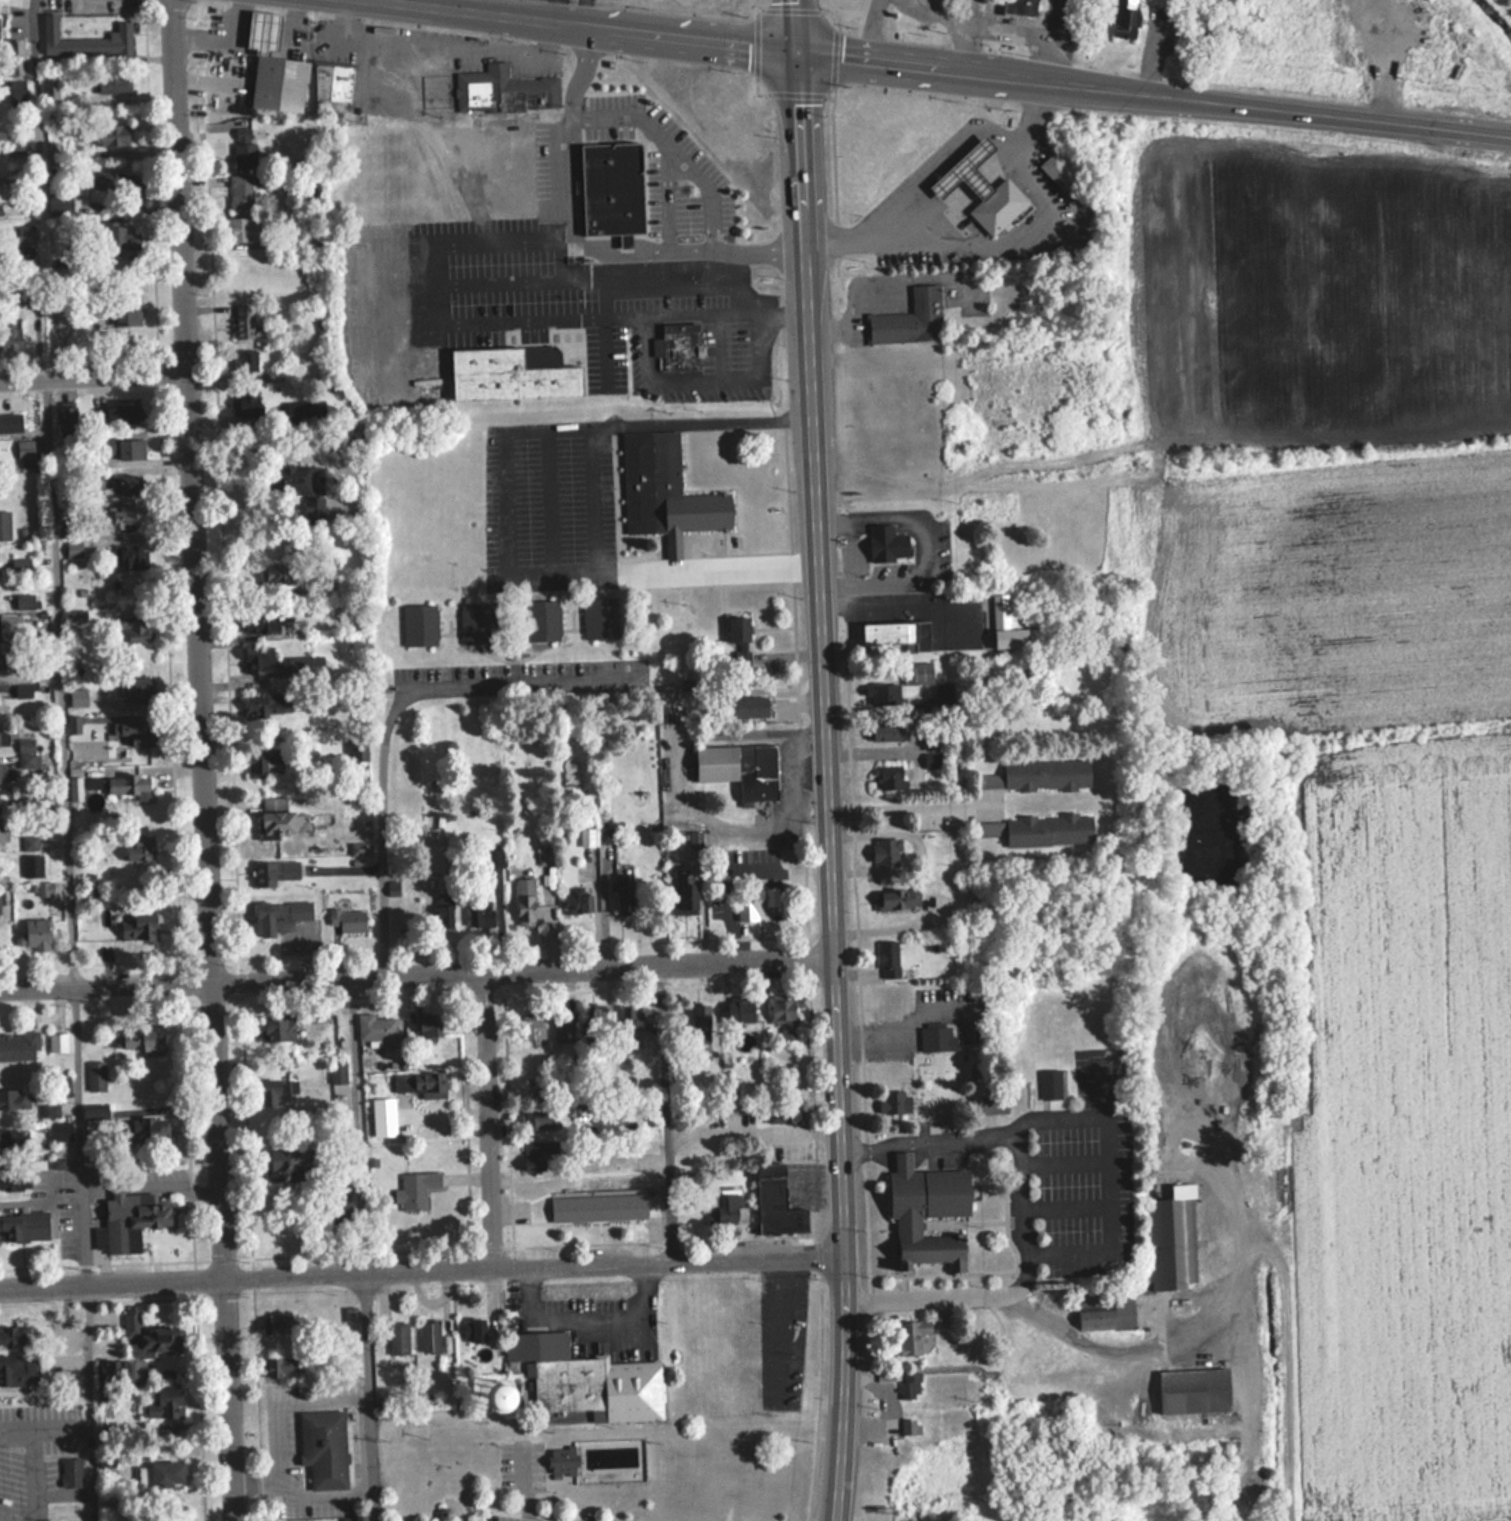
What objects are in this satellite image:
road: (443, 4)
road: (464, 6)
building: (1020, 7)
road: (566, 14)
road: (584, 14)
building: (1126, 18)
road: (795, 26)
road: (959, 26)
road: (862, 30)
building: (264, 31)
road: (1021, 33)
building: (92, 40)
road: (437, 43)
traffic signals: (796, 53)
road: (936, 68)
building: (277, 82)
building: (112, 83)
building: (343, 83)
building: (325, 88)
building: (50, 89)
building: (515, 90)
road: (1502, 132)
building: (113, 135)
building: (244, 150)
road: (670, 151)
building: (53, 152)
building: (967, 170)
building: (1058, 170)
building: (113, 181)
building: (614, 189)
building: (240, 192)
building: (999, 205)
building: (242, 229)
building: (17, 235)
building: (123, 238)
road: (738, 307)
building: (128, 311)
building: (910, 319)
building: (244, 320)
building: (11, 341)
building: (688, 348)
building: (245, 360)
building: (526, 375)
road: (95, 379)
building: (247, 403)
building: (124, 415)
building: (11, 422)
building: (25, 449)
building: (127, 449)
building: (297, 481)
building: (126, 484)
building: (667, 490)
road: (552, 499)
building: (339, 510)
building: (125, 517)
building: (5, 526)
building: (889, 543)
road: (932, 548)
building: (74, 550)
building: (129, 556)
building: (21, 566)
building: (281, 573)
road: (899, 606)
building: (601, 619)
building: (542, 621)
building: (261, 622)
building: (478, 623)
building: (420, 625)
building: (139, 629)
building: (739, 630)
building: (897, 633)
building: (1011, 639)
building: (260, 660)
building: (3, 661)
building: (922, 672)
road: (505, 678)
building: (138, 689)
building: (884, 694)
building: (941, 700)
building: (0, 705)
building: (269, 715)
building: (127, 732)
building: (887, 732)
building: (4, 737)
building: (25, 752)
building: (264, 758)
building: (934, 759)
road: (205, 760)
building: (740, 768)
building: (1, 772)
building: (1047, 774)
building: (891, 776)
building: (572, 777)
building: (990, 779)
building: (125, 785)
road: (825, 787)
road: (906, 805)
building: (280, 823)
road: (383, 827)
building: (1050, 830)
building: (2, 834)
building: (140, 850)
building: (887, 852)
building: (432, 853)
building: (545, 856)
building: (31, 866)
building: (272, 873)
building: (42, 888)
building: (525, 893)
building: (685, 894)
building: (757, 899)
building: (897, 899)
building: (579, 900)
building: (625, 900)
building: (279, 915)
building: (445, 916)
building: (480, 919)
building: (348, 921)
building: (140, 932)
building: (37, 934)
building: (889, 959)
road: (415, 970)
building: (740, 1011)
building: (631, 1017)
building: (785, 1017)
building: (701, 1023)
building: (532, 1026)
building: (563, 1027)
building: (278, 1028)
building: (432, 1028)
building: (376, 1031)
building: (937, 1038)
building: (138, 1040)
building: (57, 1042)
building: (19, 1046)
building: (1051, 1084)
building: (419, 1087)
building: (273, 1093)
building: (14, 1099)
building: (898, 1102)
building: (994, 1103)
building: (95, 1111)
building: (783, 1113)
road: (492, 1117)
building: (540, 1120)
building: (60, 1130)
building: (150, 1131)
building: (15, 1141)
road: (903, 1144)
building: (538, 1152)
building: (291, 1164)
building: (415, 1190)
building: (777, 1202)
building: (598, 1206)
building: (725, 1206)
building: (928, 1212)
building: (133, 1219)
building: (24, 1227)
building: (1171, 1239)
road: (422, 1270)
building: (1110, 1315)
building: (281, 1325)
building: (474, 1330)
building: (14, 1336)
building: (430, 1336)
building: (912, 1336)
building: (149, 1337)
building: (398, 1338)
road: (1102, 1349)
building: (282, 1368)
building: (19, 1369)
building: (115, 1372)
building: (586, 1379)
building: (909, 1385)
building: (1194, 1389)
road: (365, 1396)
road: (87, 1402)
building: (162, 1403)
building: (506, 1403)
building: (908, 1426)
road: (59, 1431)
road: (16, 1433)
building: (324, 1447)
road: (273, 1451)
building: (562, 1460)
parking lot: (532, 1465)
building: (71, 1472)
building: (162, 1474)
park: (445, 1474)
road: (34, 1477)
road: (522, 1484)
building: (353, 1518)
parking lot: (519, 1518)

